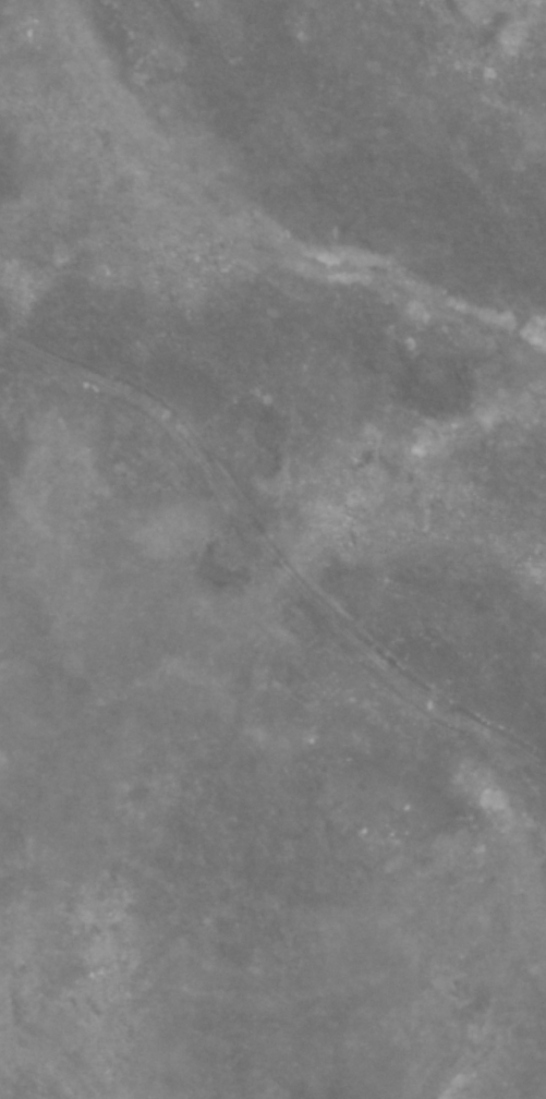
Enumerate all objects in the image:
road: (254, 571)

